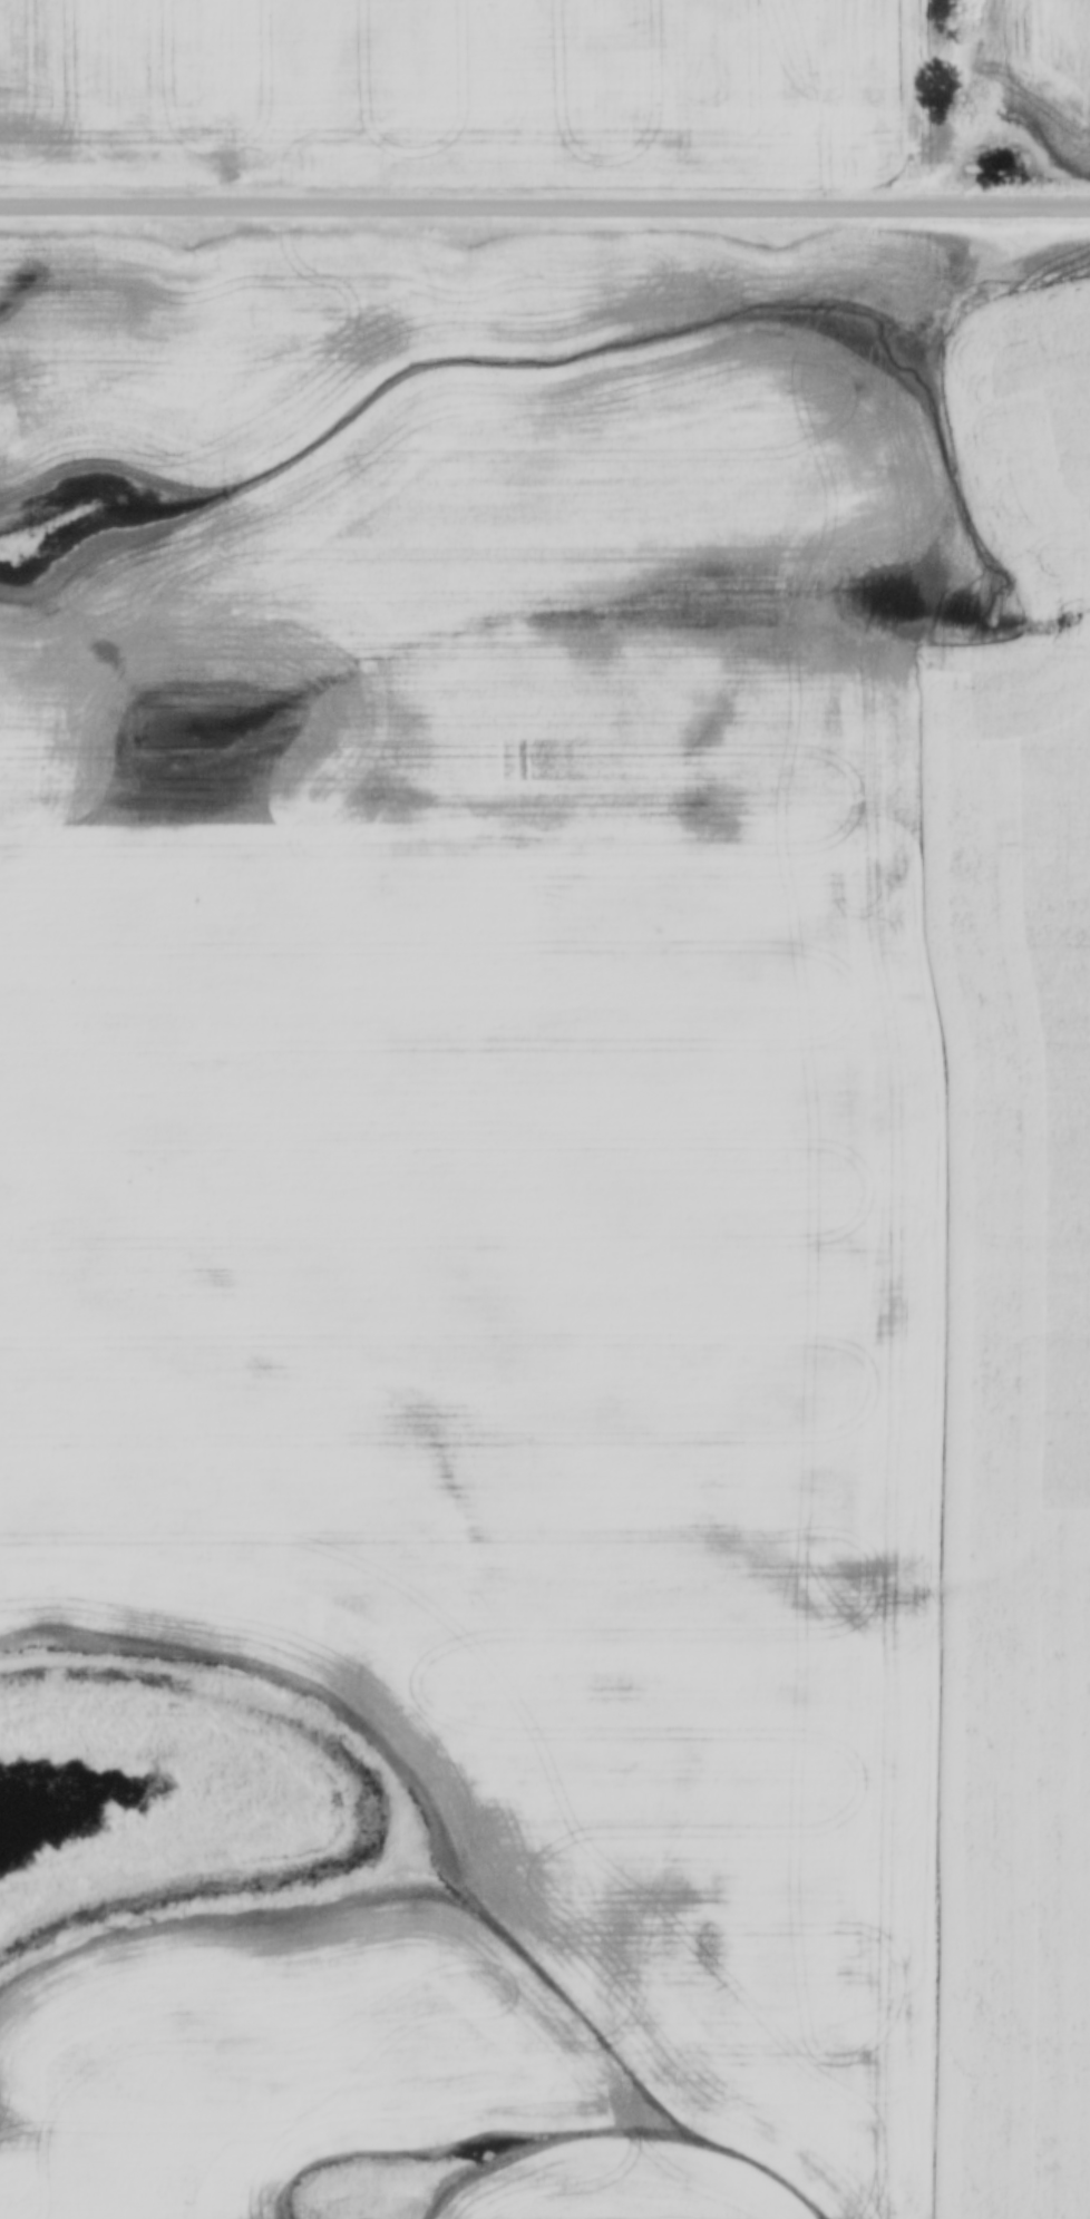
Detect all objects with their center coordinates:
road: (545, 211)

